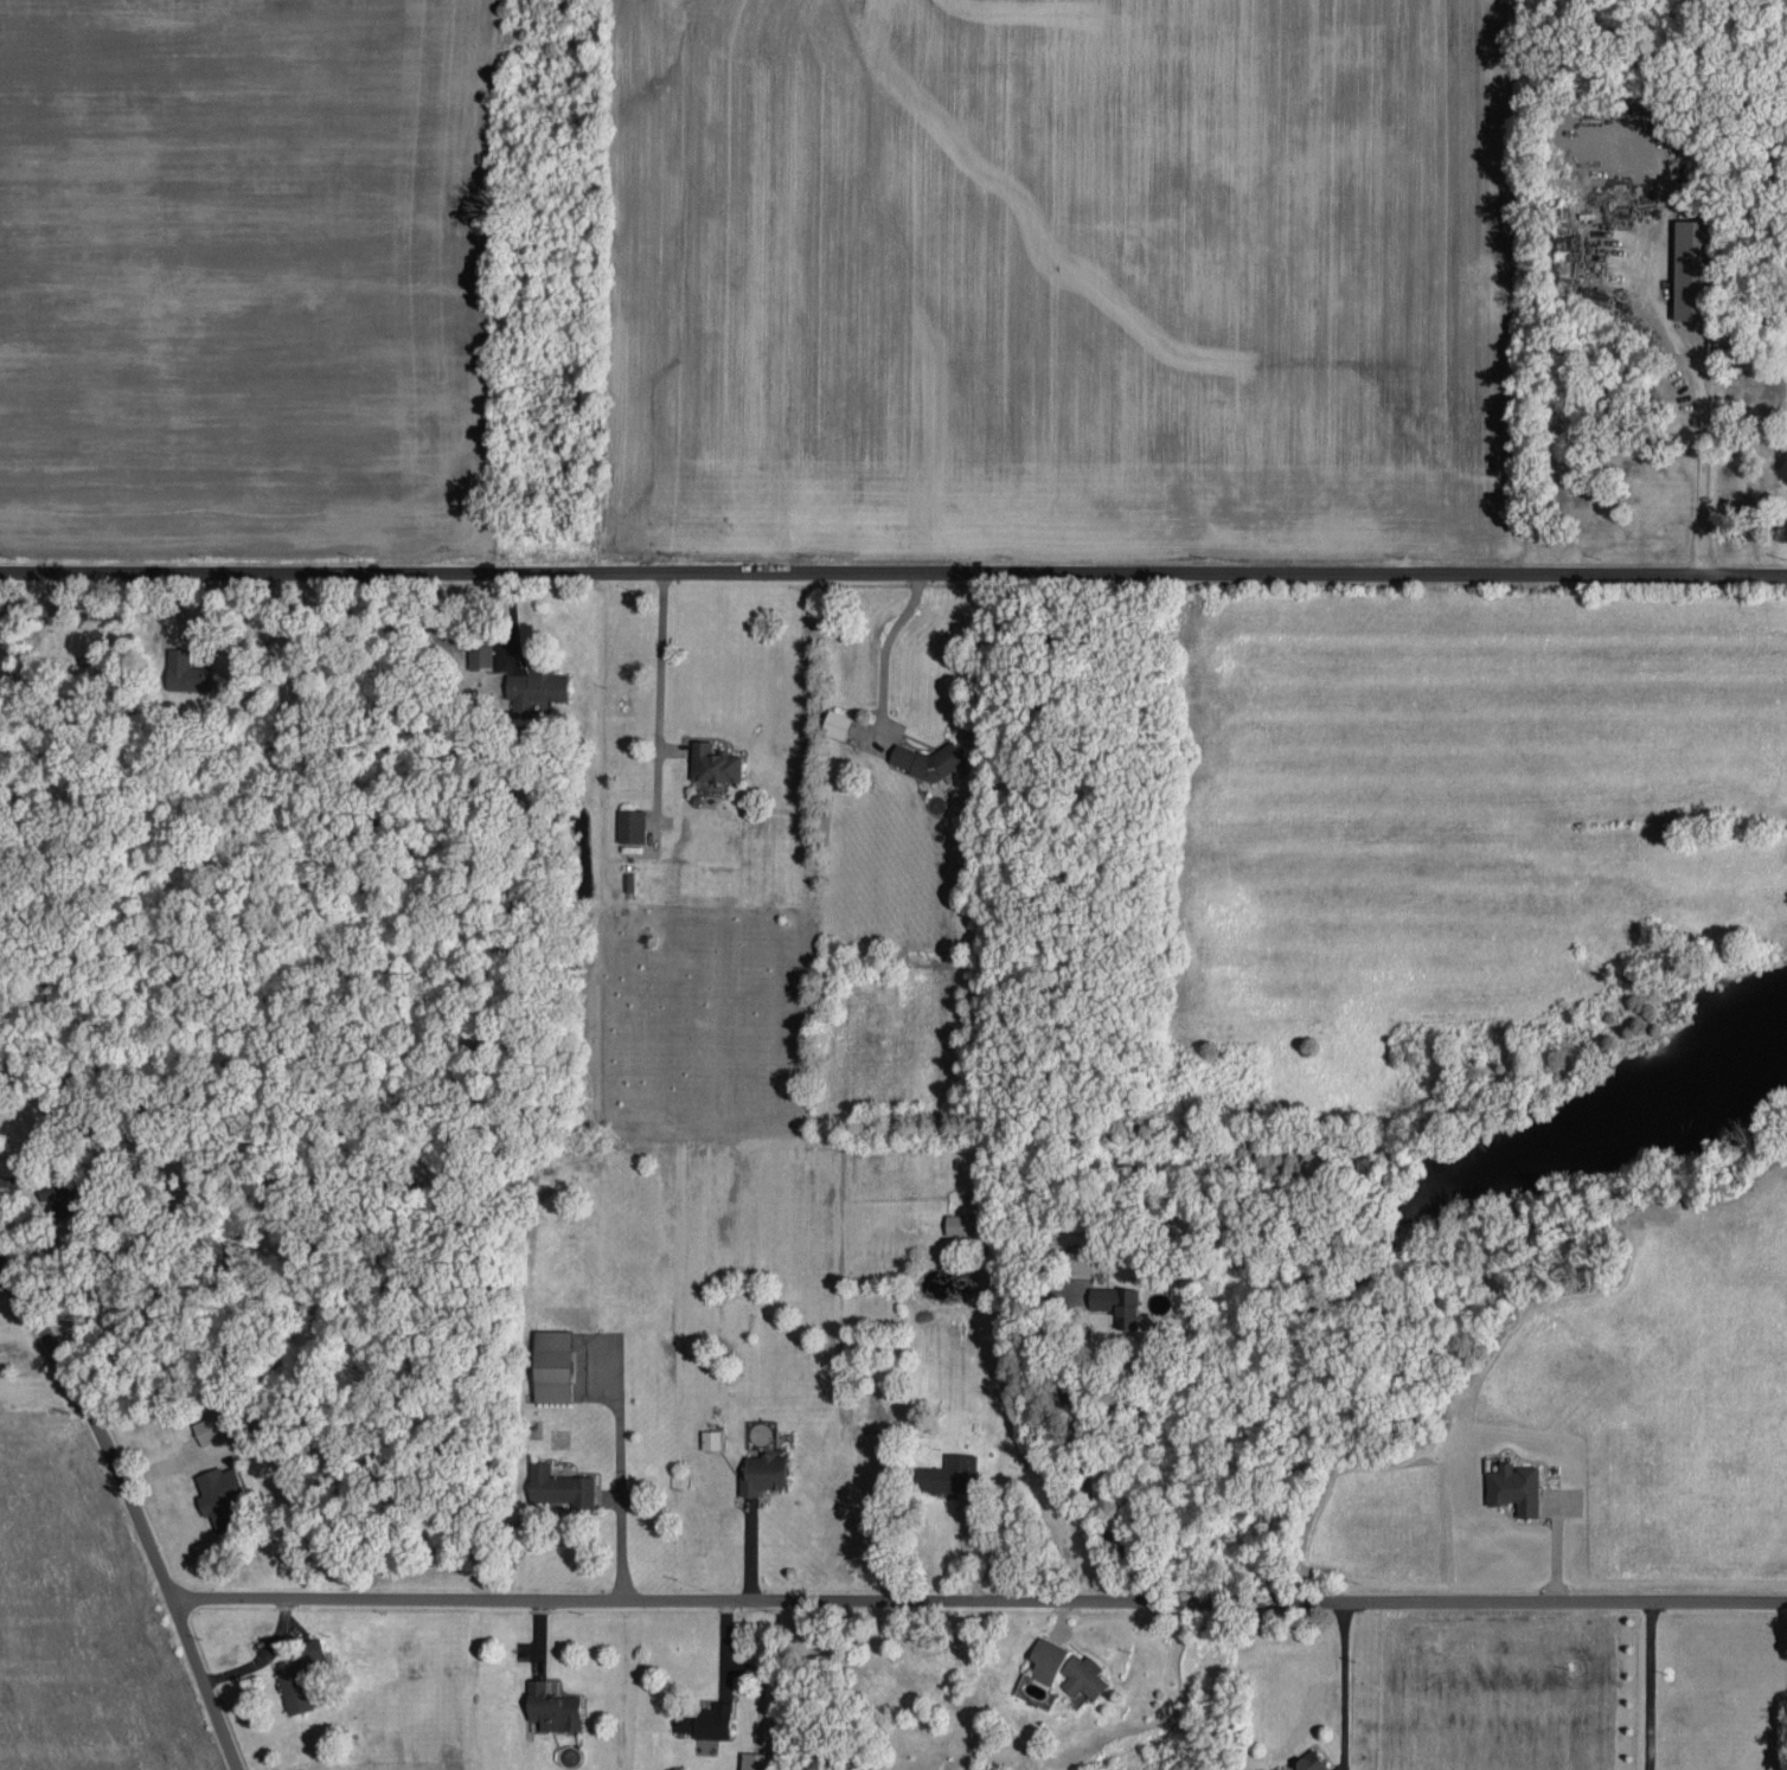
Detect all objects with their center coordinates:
building: (1691, 268)
road: (894, 569)
building: (480, 650)
building: (185, 671)
building: (534, 687)
building: (835, 722)
building: (925, 758)
building: (713, 762)
building: (630, 823)
building: (53, 1189)
building: (959, 1220)
building: (1083, 1258)
building: (1115, 1300)
building: (551, 1362)
building: (206, 1428)
building: (710, 1436)
building: (762, 1470)
building: (947, 1471)
building: (559, 1483)
building: (1514, 1484)
building: (219, 1493)
road: (134, 1507)
road: (976, 1597)
building: (312, 1646)
building: (1046, 1657)
building: (1083, 1673)
road: (1343, 1684)
building: (293, 1687)
building: (551, 1705)
building: (705, 1718)
building: (754, 1759)
building: (1305, 1762)

